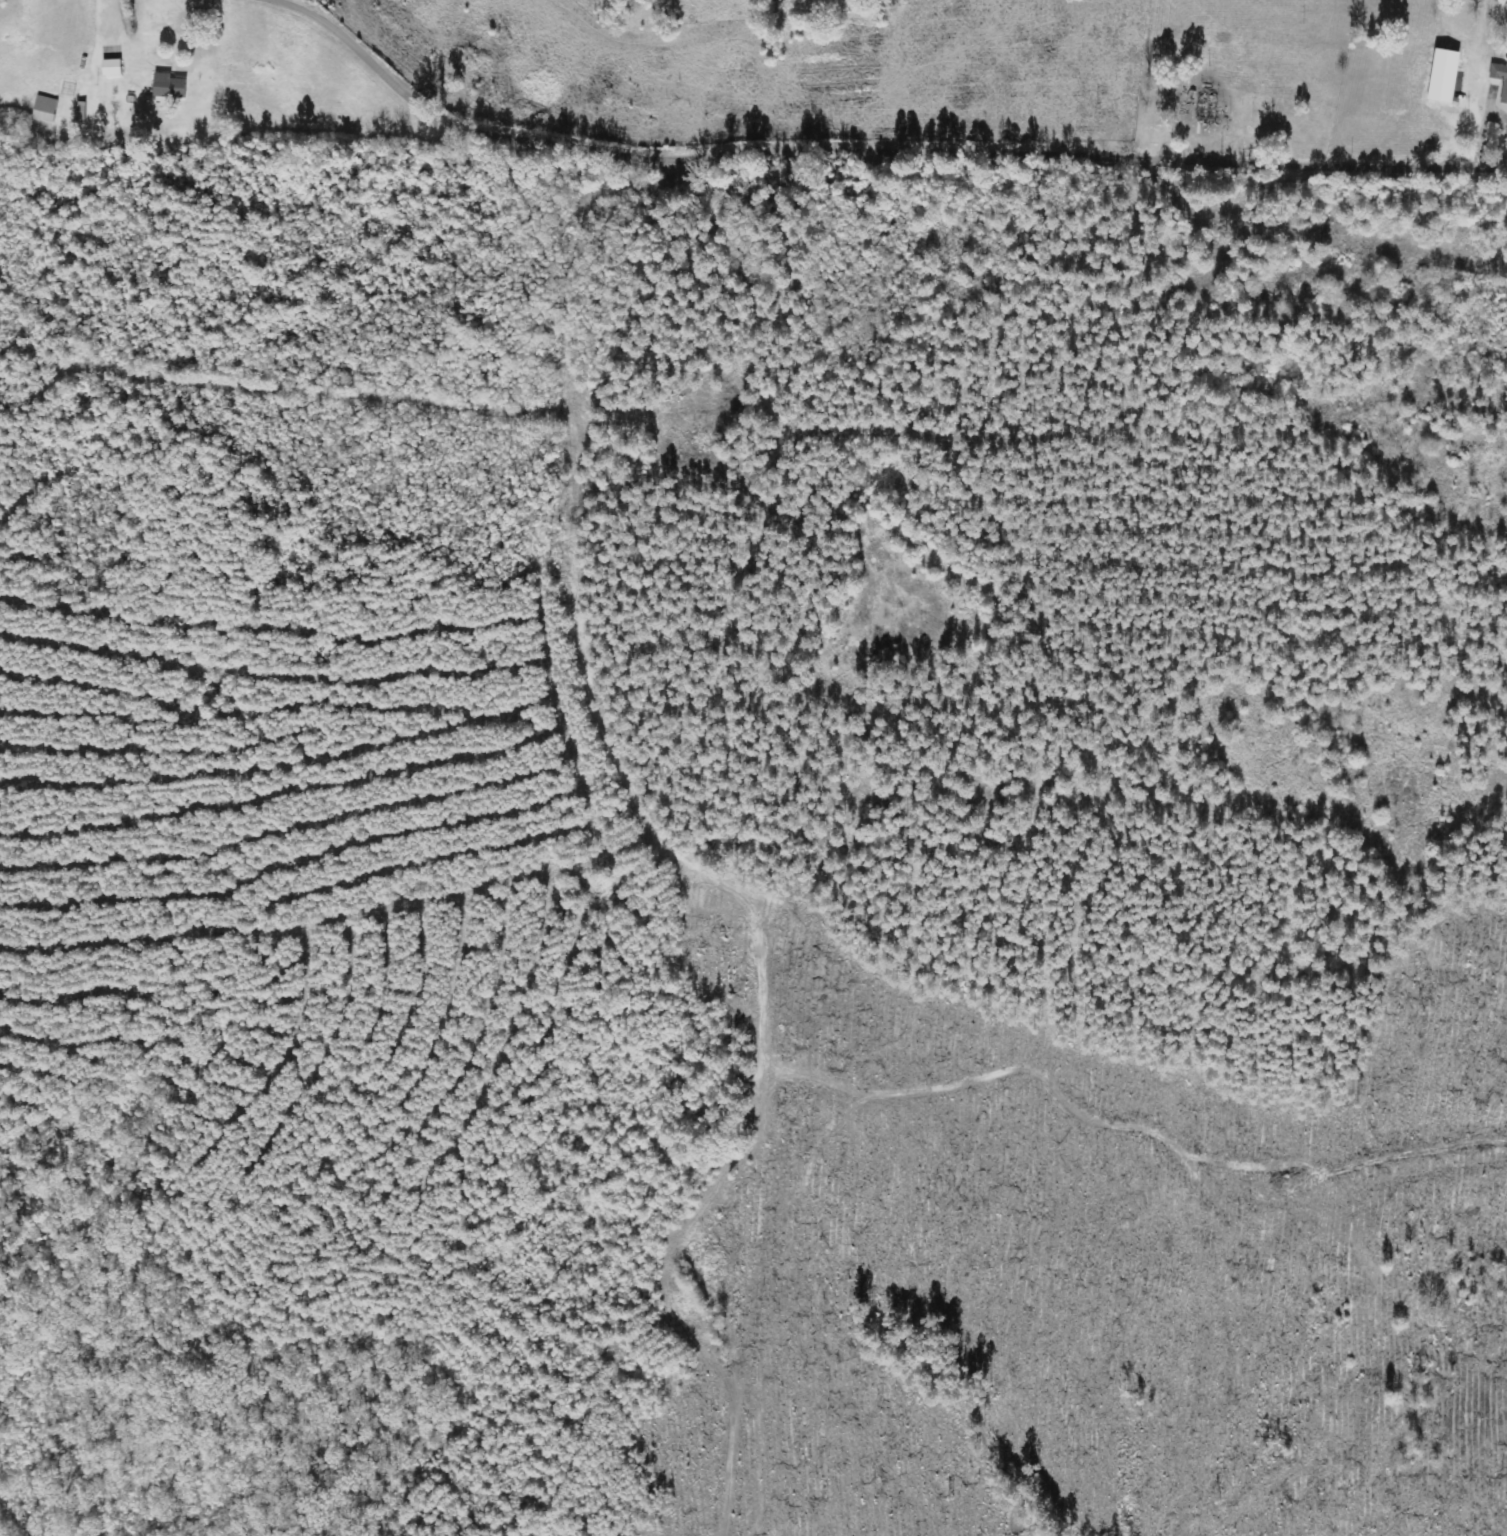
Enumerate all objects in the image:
building: (1500, 77)
road: (1477, 84)
building: (168, 85)
building: (1205, 107)
building: (45, 108)
road: (870, 150)

